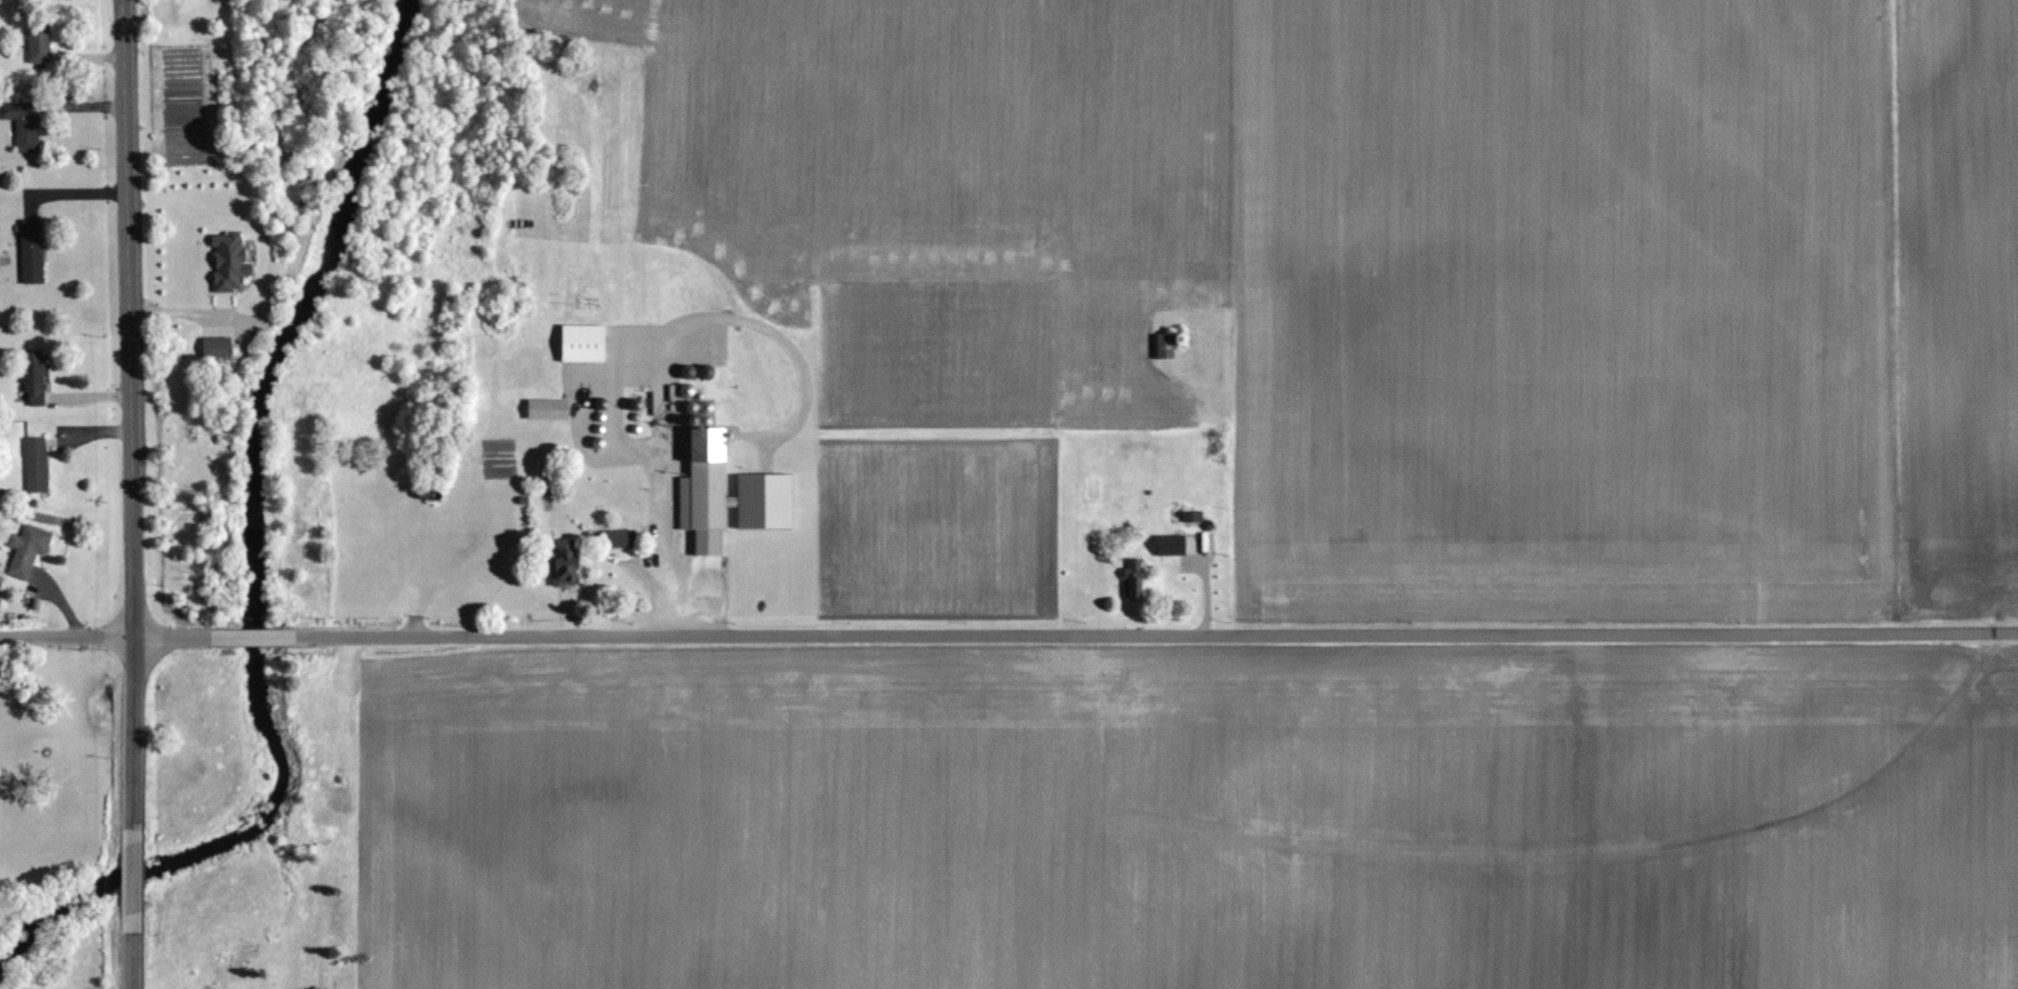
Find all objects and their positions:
building: (40, 45)
building: (25, 123)
building: (33, 250)
building: (231, 260)
road: (180, 310)
building: (587, 342)
building: (1168, 345)
building: (219, 346)
building: (36, 376)
road: (132, 407)
building: (550, 408)
building: (37, 464)
building: (767, 486)
building: (1193, 515)
building: (621, 537)
building: (1173, 544)
building: (29, 549)
building: (568, 564)
building: (1136, 579)
road: (1157, 631)
road: (253, 637)
road: (105, 638)
road: (135, 873)
road: (134, 960)

